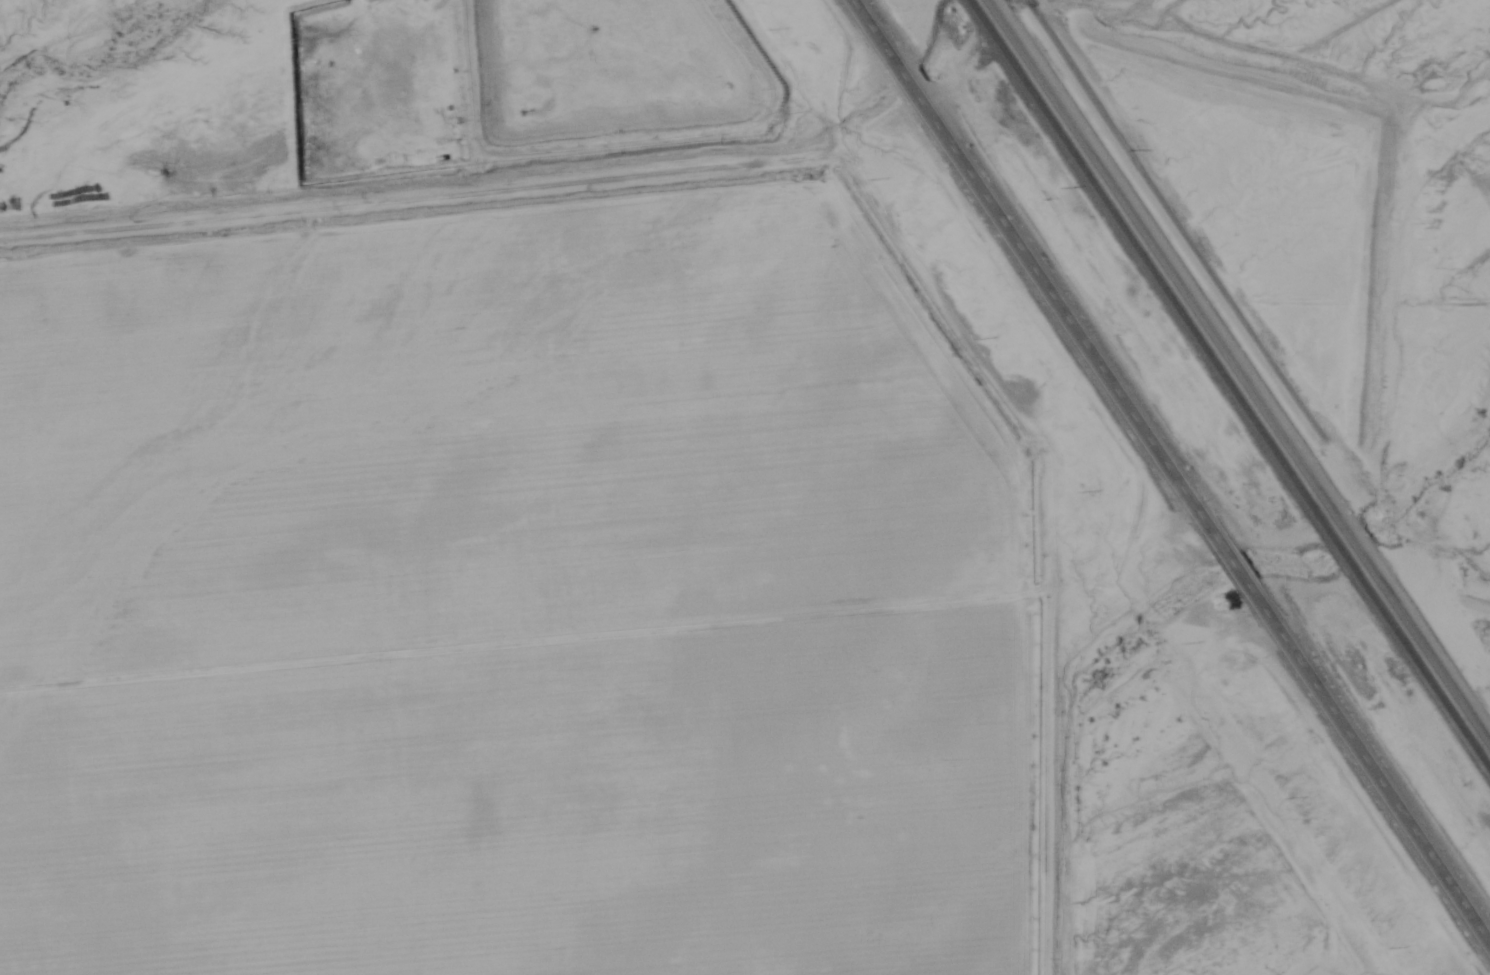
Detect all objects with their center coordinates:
railway: (1241, 368)
railway: (1231, 382)
road: (1171, 470)

